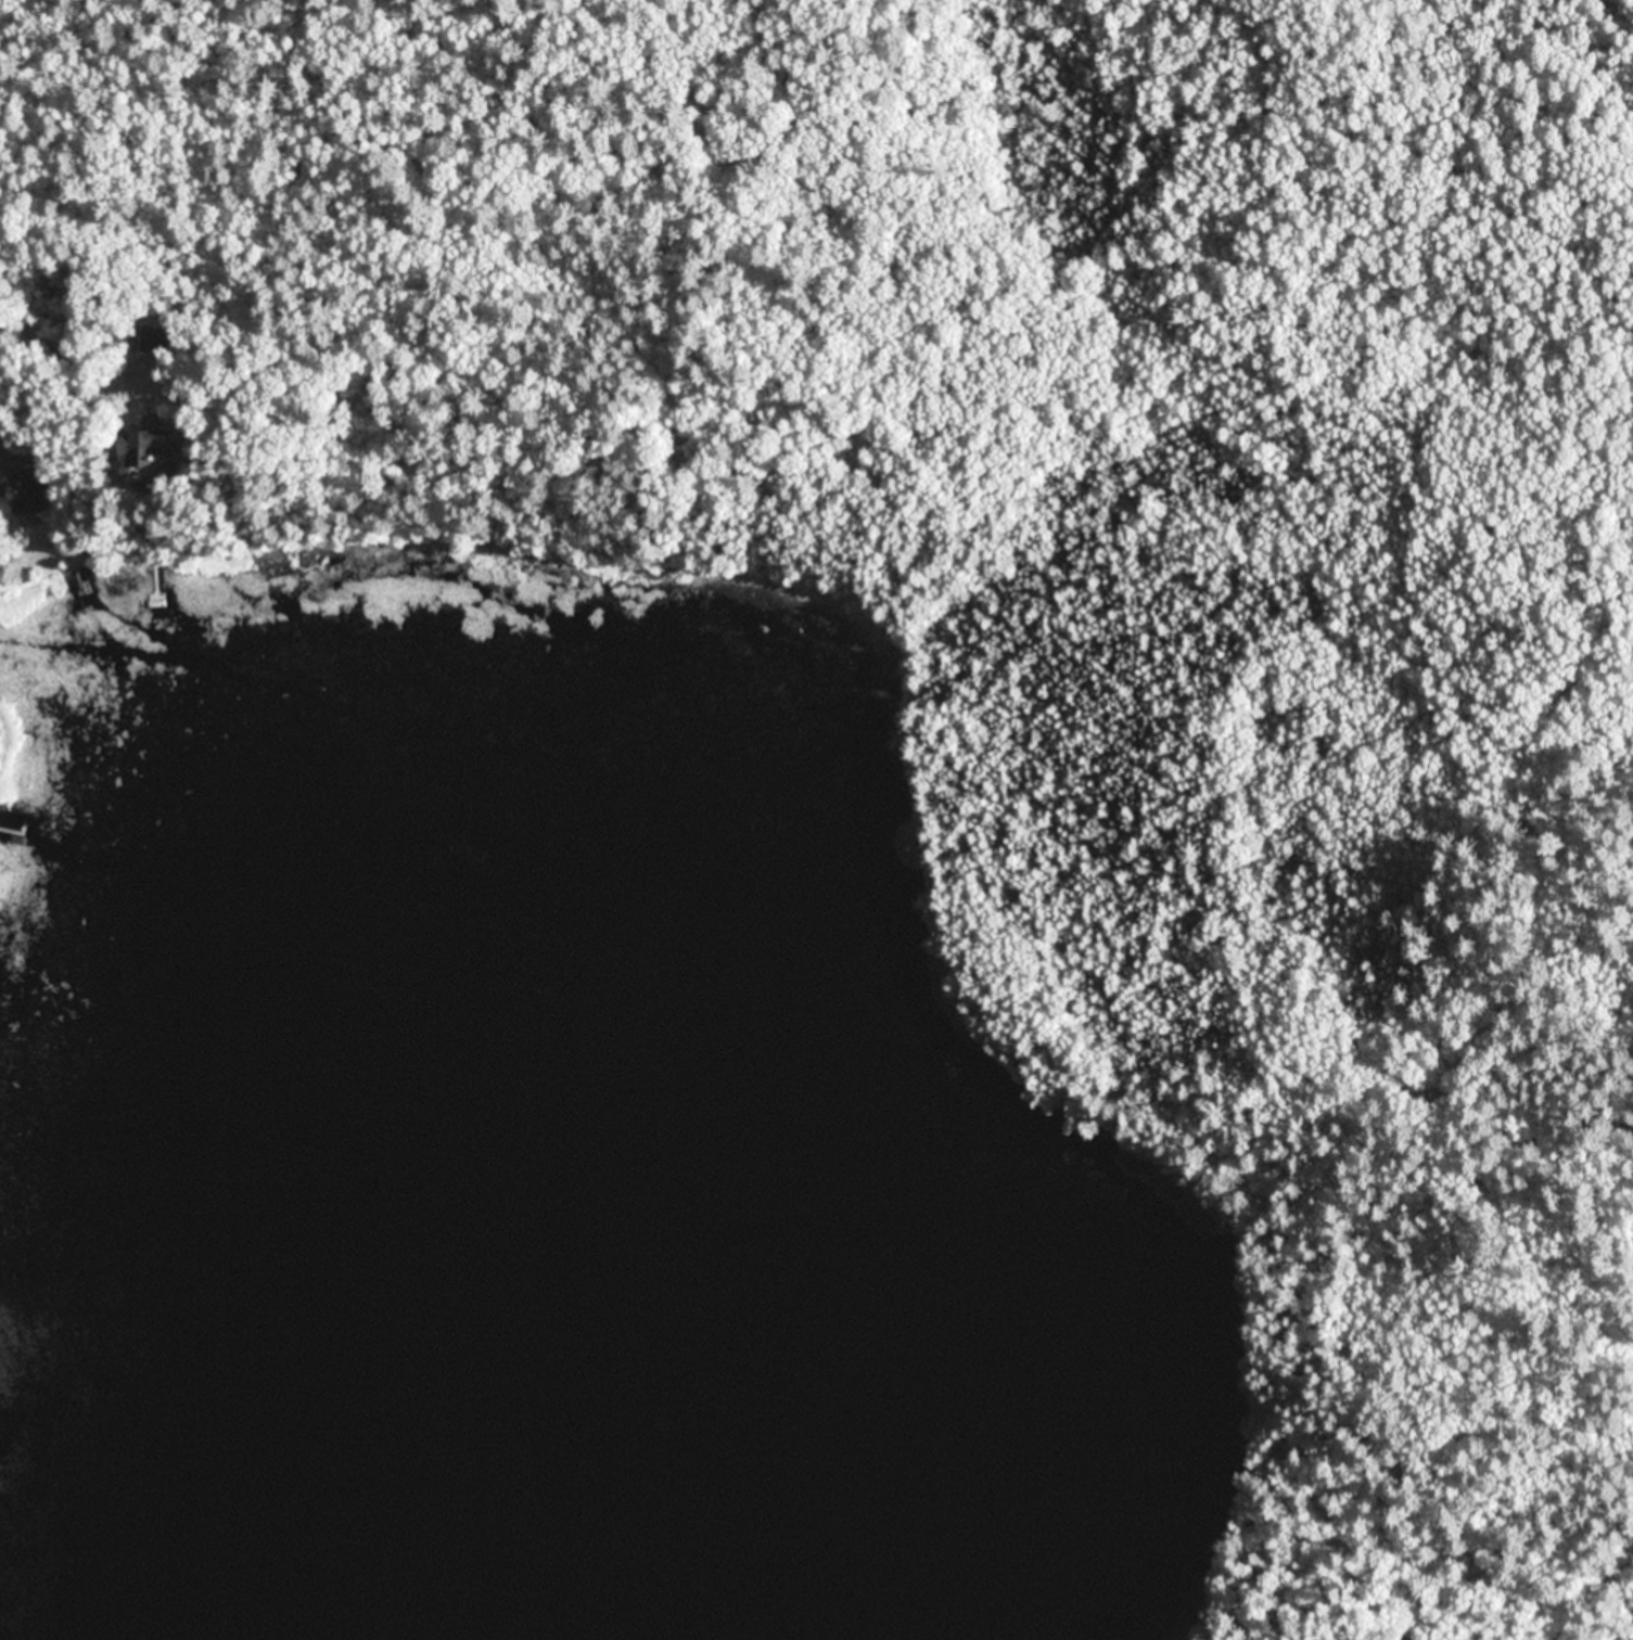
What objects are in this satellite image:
building: (156, 336)
building: (145, 444)
building: (36, 450)
building: (26, 490)

